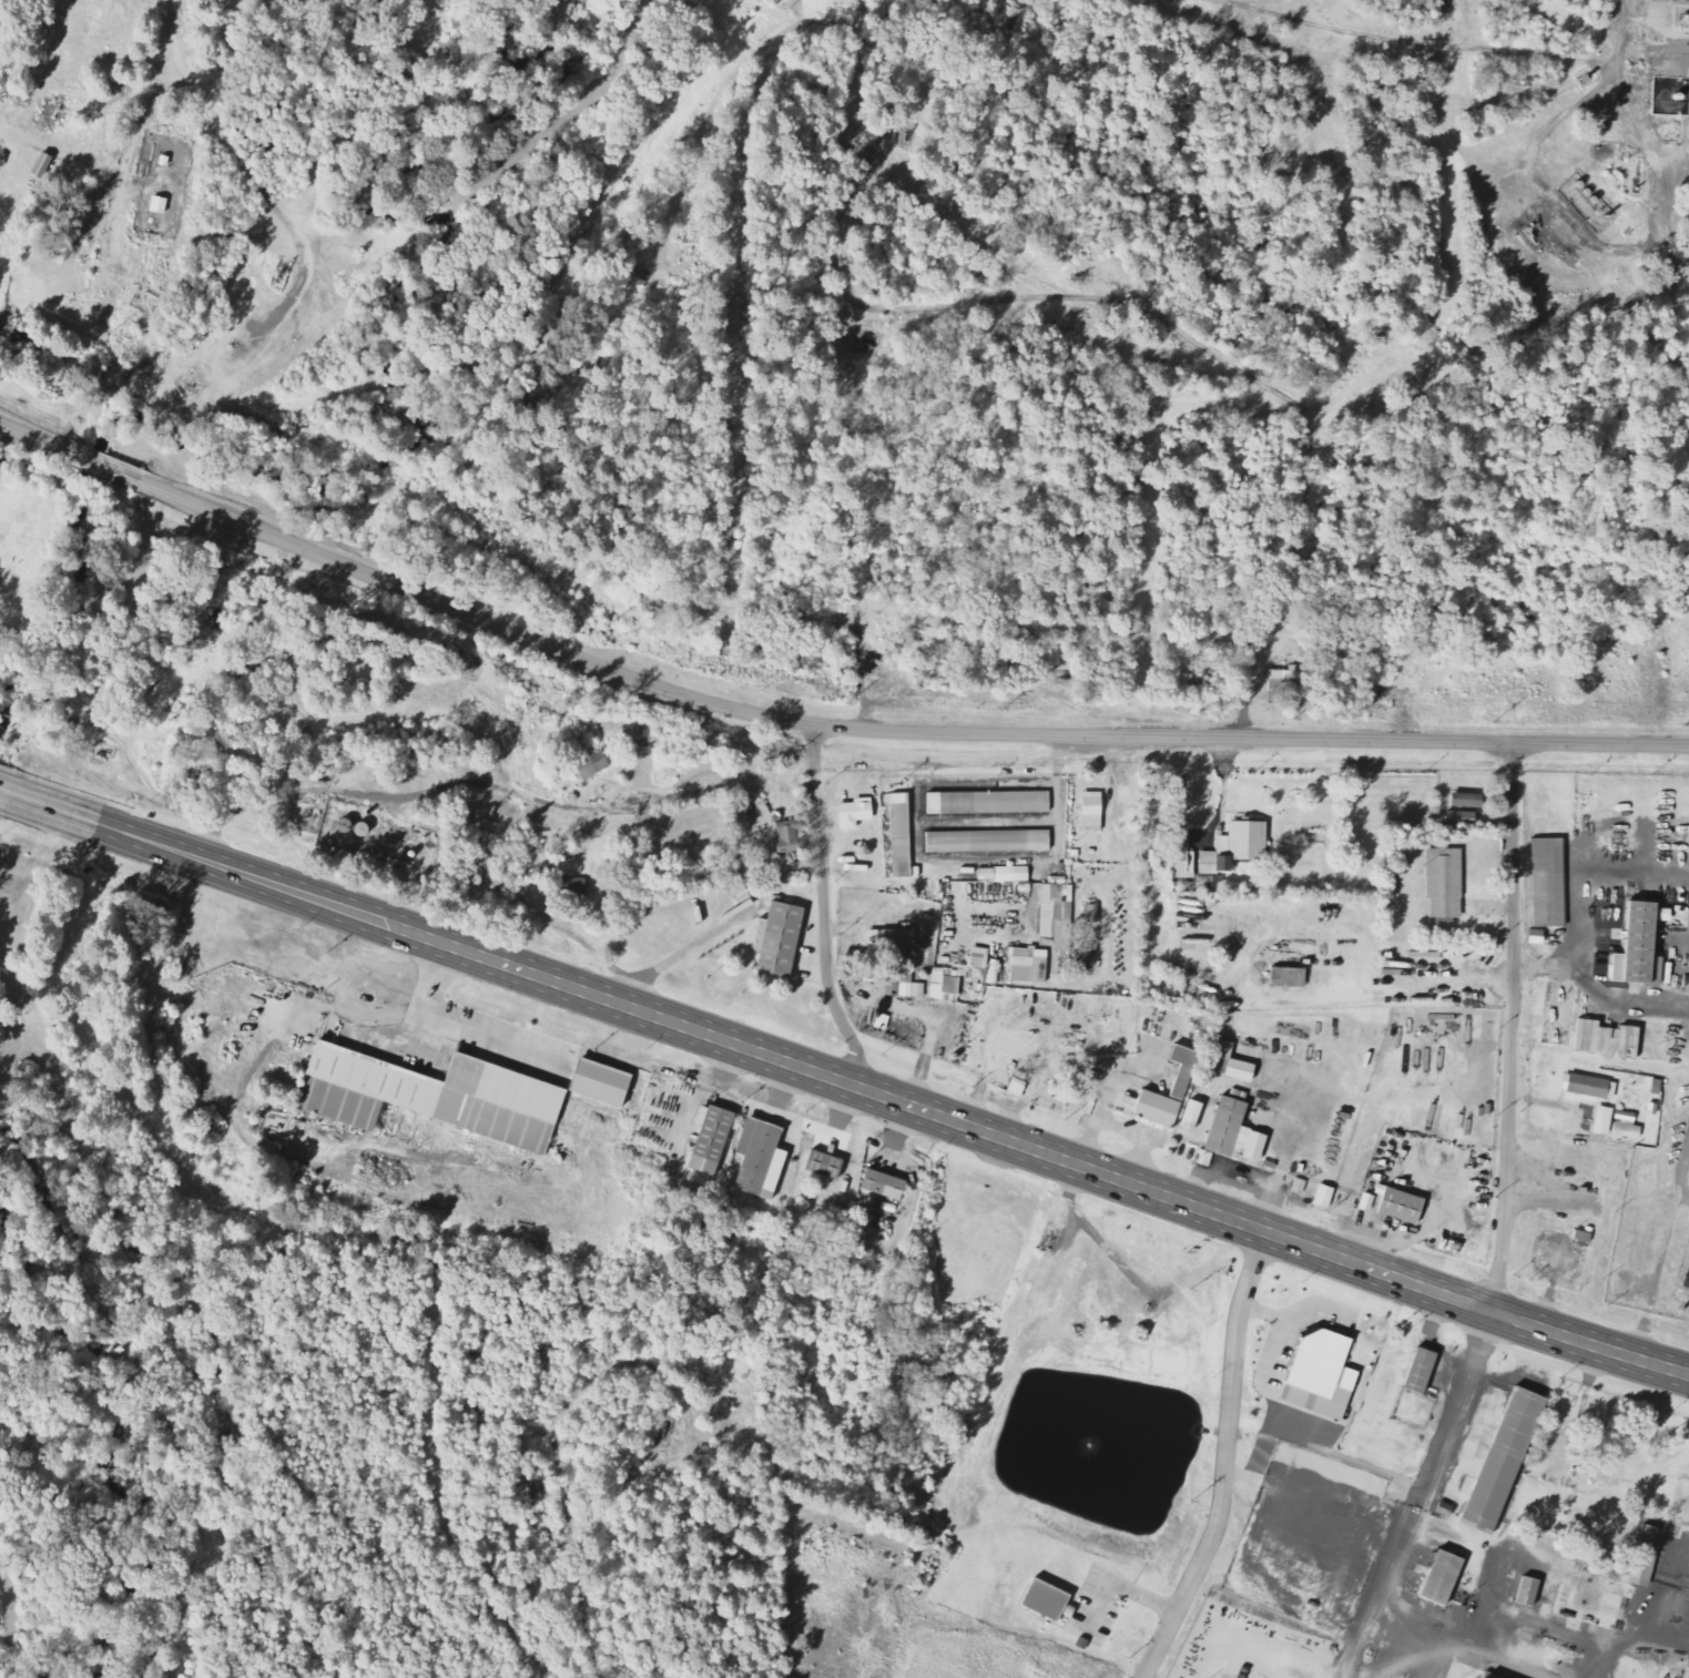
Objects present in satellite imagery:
road: (762, 9)
road: (1464, 23)
road: (1411, 43)
road: (1647, 139)
road: (257, 187)
building: (160, 206)
road: (928, 307)
power tower: (111, 336)
road: (1422, 367)
road: (39, 439)
road: (111, 468)
power tower: (490, 519)
road: (247, 525)
power tower: (614, 627)
power tower: (729, 677)
building: (1284, 683)
power tower: (864, 705)
power tower: (1209, 719)
power tower: (1497, 725)
road: (1006, 734)
building: (594, 765)
road: (490, 783)
road: (6, 794)
building: (1468, 801)
building: (989, 803)
building: (1092, 811)
building: (856, 813)
road: (1616, 825)
building: (903, 835)
building: (790, 836)
building: (990, 841)
building: (1238, 847)
building: (1180, 858)
road: (205, 862)
building: (1005, 874)
building: (1548, 882)
building: (1446, 883)
building: (576, 885)
road: (823, 911)
building: (1058, 915)
road: (1578, 930)
building: (893, 938)
building: (776, 939)
building: (1640, 944)
building: (980, 958)
building: (1029, 966)
road: (1545, 968)
building: (1291, 969)
road: (1471, 977)
building: (905, 985)
building: (946, 985)
road: (1510, 1028)
building: (1608, 1039)
building: (1231, 1062)
building: (1183, 1076)
building: (602, 1082)
road: (1029, 1086)
building: (1590, 1087)
building: (446, 1089)
building: (1194, 1115)
building: (1605, 1120)
building: (1627, 1125)
building: (1240, 1129)
building: (713, 1132)
road: (1042, 1153)
building: (760, 1156)
building: (1205, 1158)
building: (825, 1163)
building: (884, 1183)
building: (1300, 1187)
building: (1369, 1202)
road: (1682, 1202)
building: (1402, 1204)
road: (1662, 1253)
building: (1322, 1355)
building: (1422, 1370)
building: (1519, 1423)
road: (1223, 1461)
road: (1424, 1496)
building: (1680, 1501)
building: (1650, 1542)
building: (1443, 1577)
road: (1112, 1584)
building: (1530, 1591)
building: (1590, 1593)
building: (1048, 1600)
road: (1433, 1616)
road: (1497, 1661)

